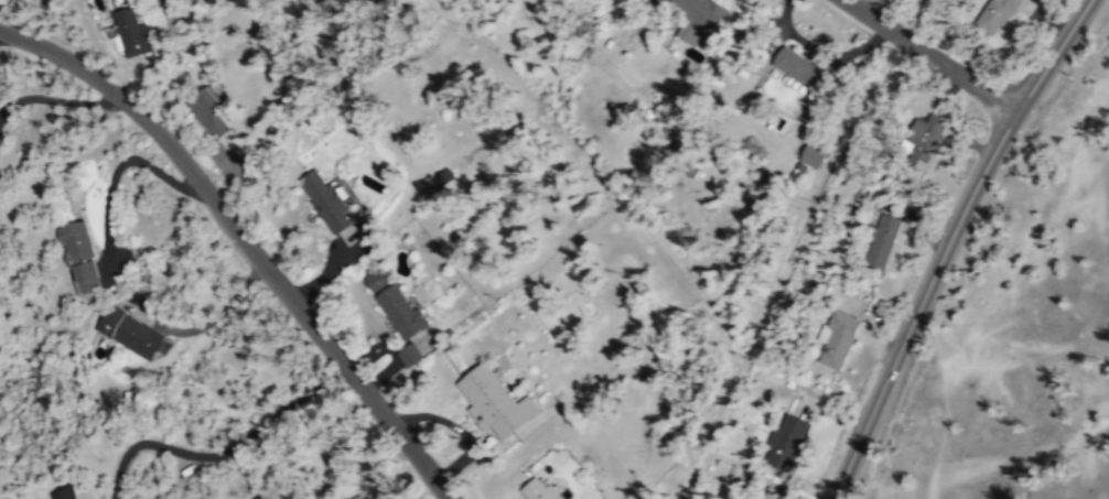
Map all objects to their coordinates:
building: (700, 11)
building: (995, 15)
building: (132, 31)
road: (930, 56)
building: (800, 67)
building: (211, 111)
building: (926, 137)
building: (810, 158)
building: (444, 177)
building: (326, 200)
road: (250, 238)
building: (882, 242)
road: (948, 242)
building: (80, 257)
building: (376, 280)
building: (401, 311)
building: (127, 330)
building: (838, 337)
building: (409, 354)
building: (494, 401)
building: (787, 432)
building: (538, 489)
building: (65, 493)
building: (772, 493)
building: (746, 498)
building: (750, 498)

